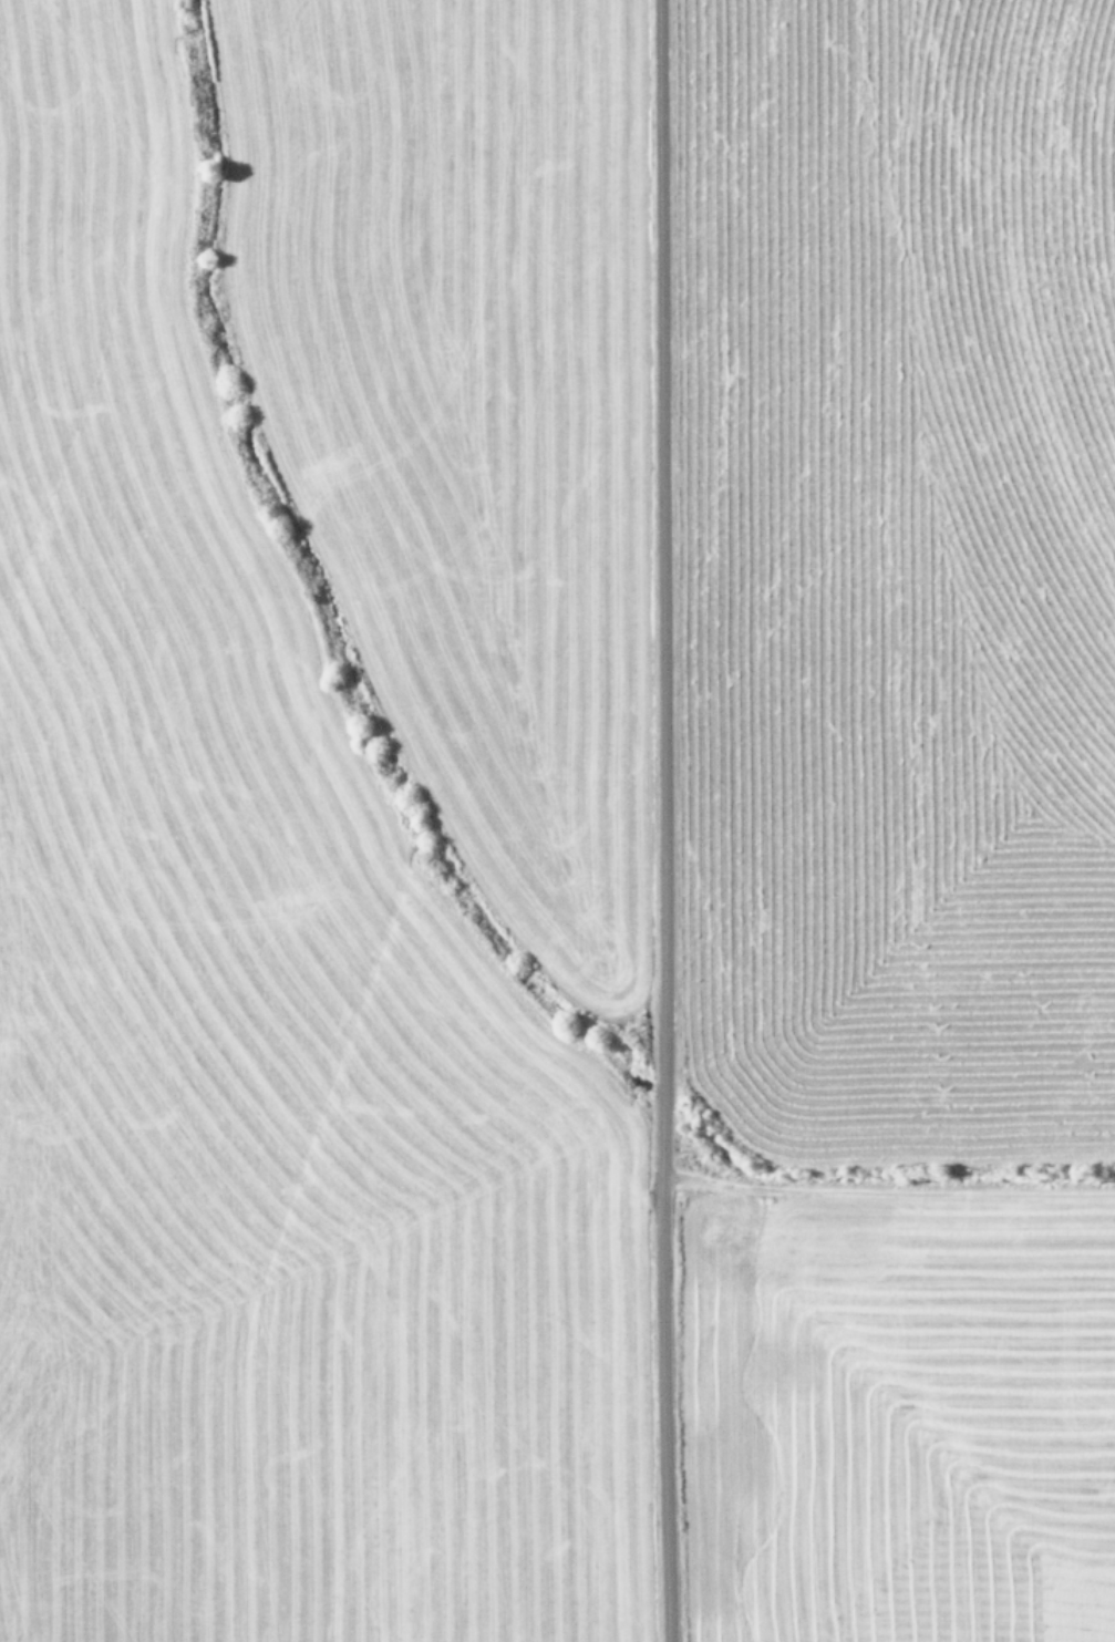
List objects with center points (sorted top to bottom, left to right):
crop: (557, 820)
road: (657, 820)

